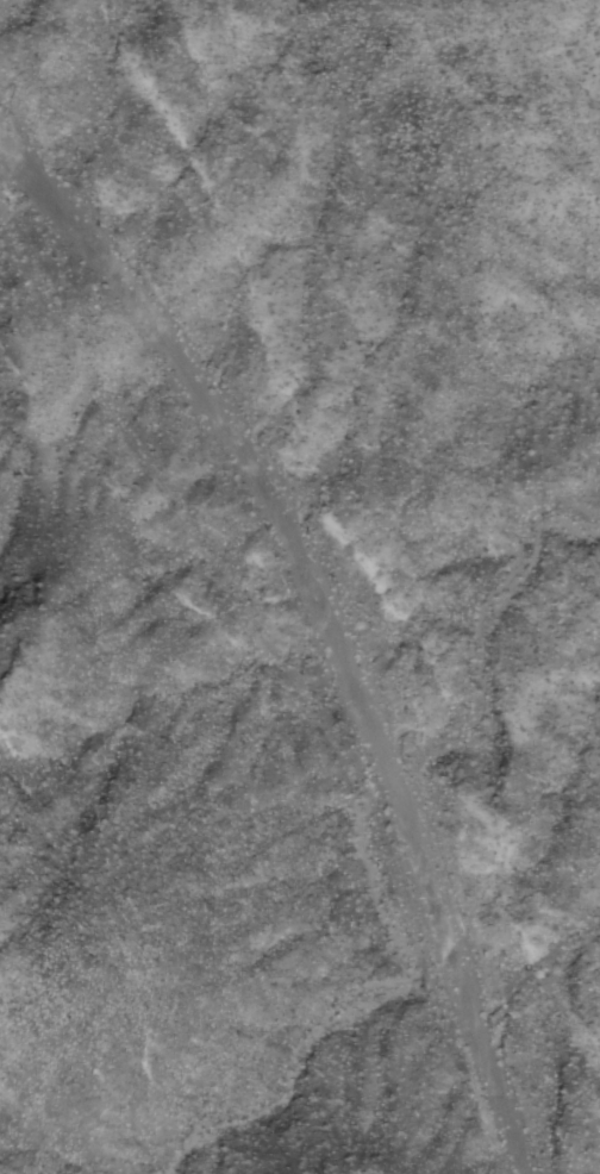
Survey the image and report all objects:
road: (332, 616)

